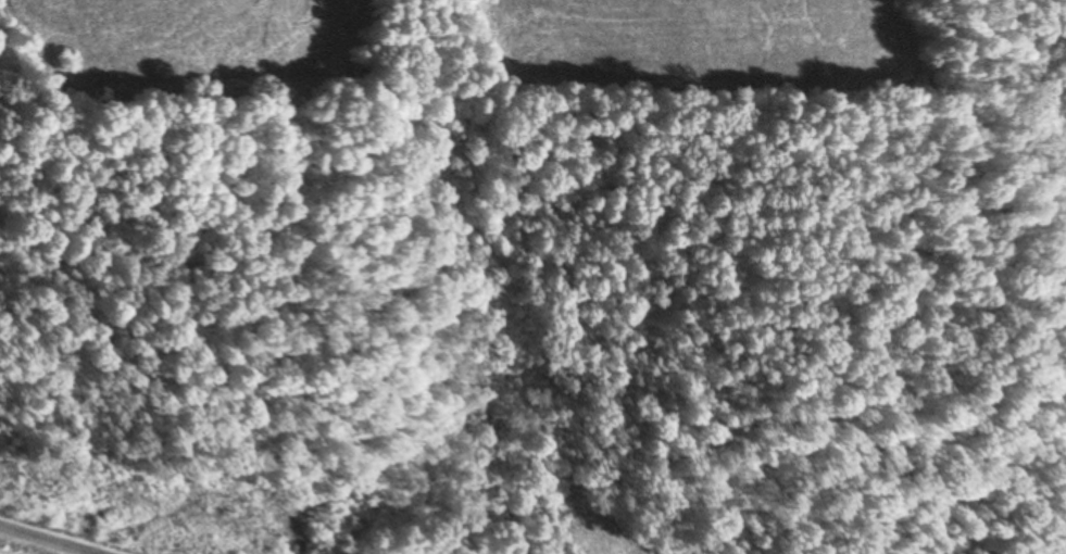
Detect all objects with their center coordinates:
road: (45, 540)
crop: (29, 544)

